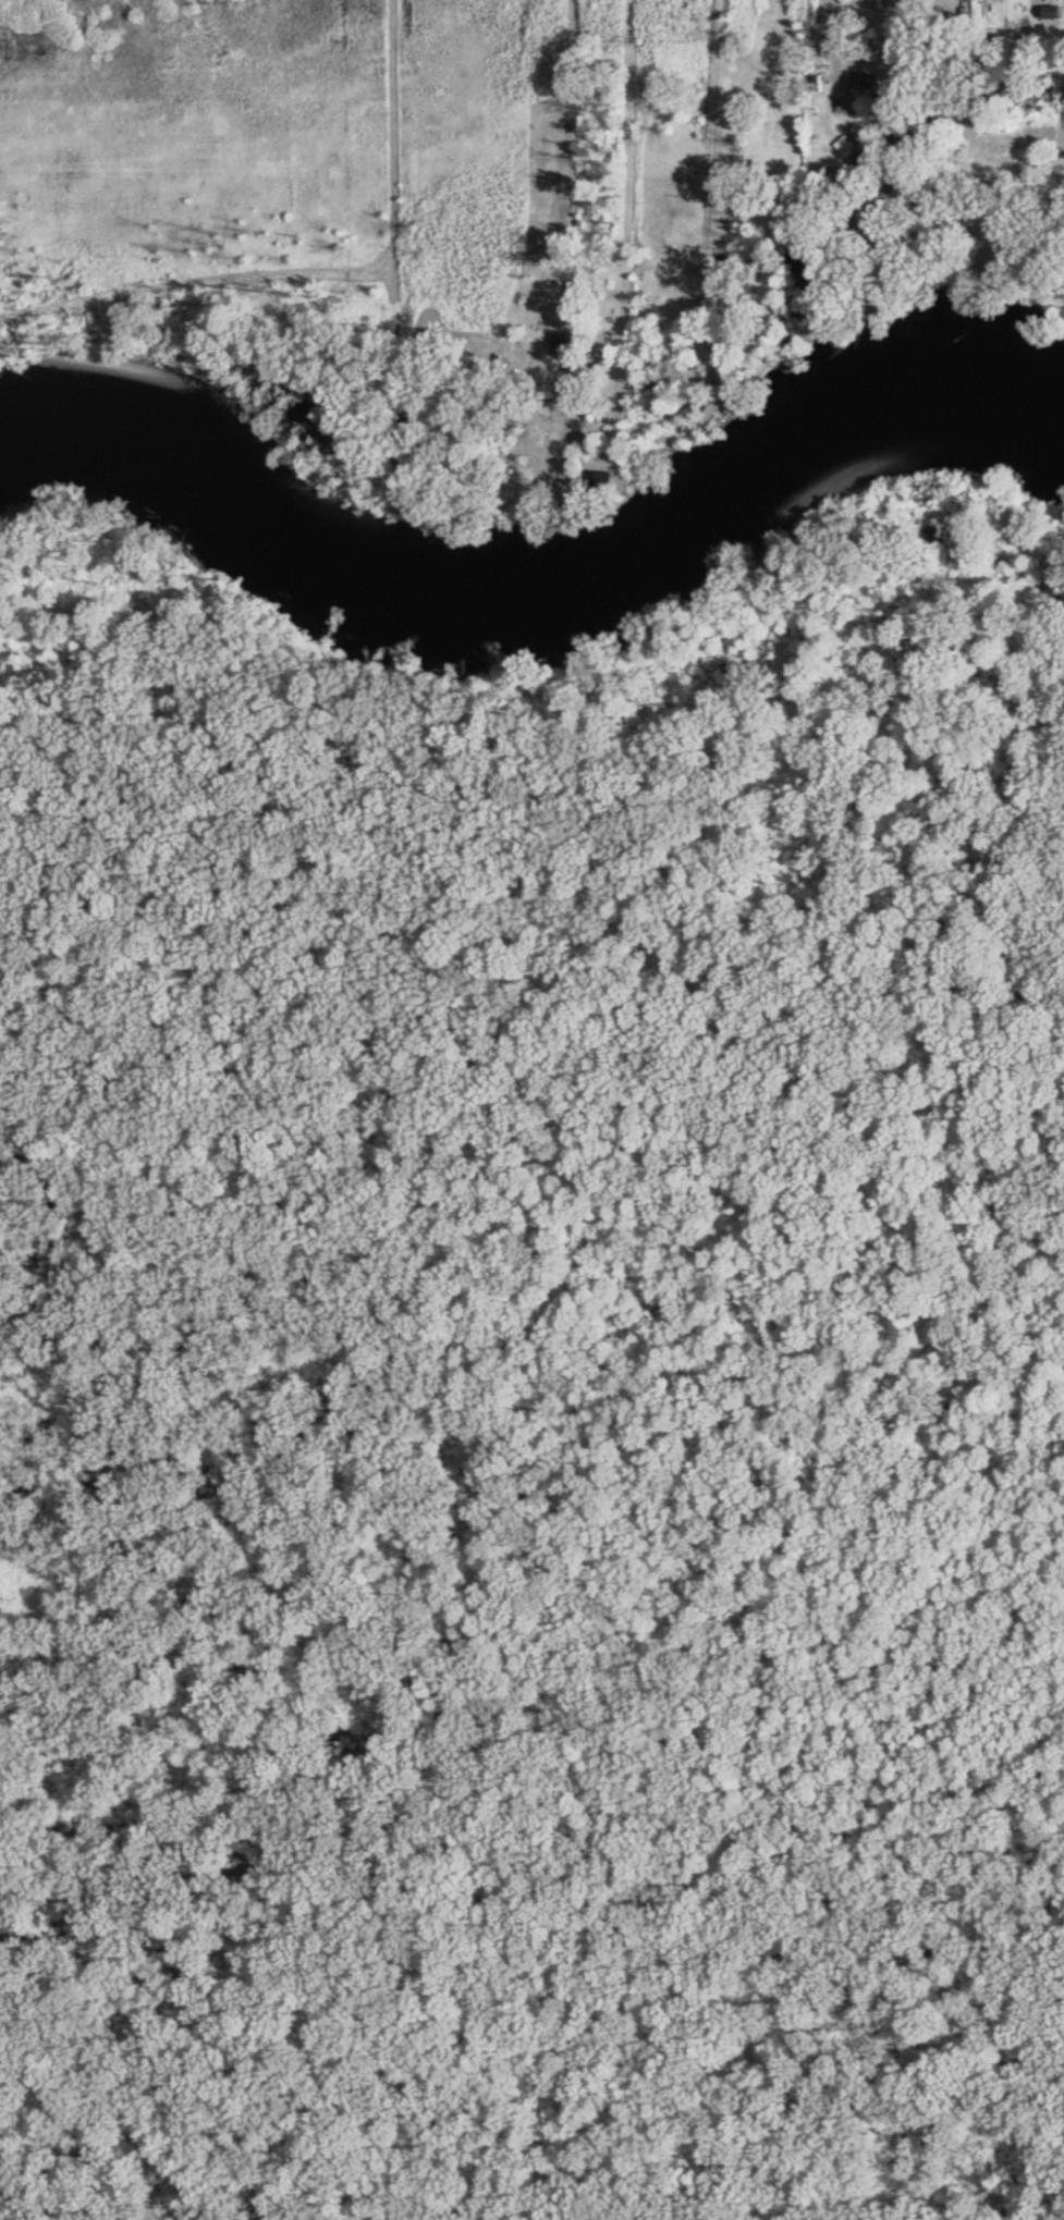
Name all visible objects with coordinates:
building: (1056, 11)
road: (835, 41)
building: (867, 81)
building: (892, 102)
road: (629, 207)
building: (563, 343)
river: (530, 605)

